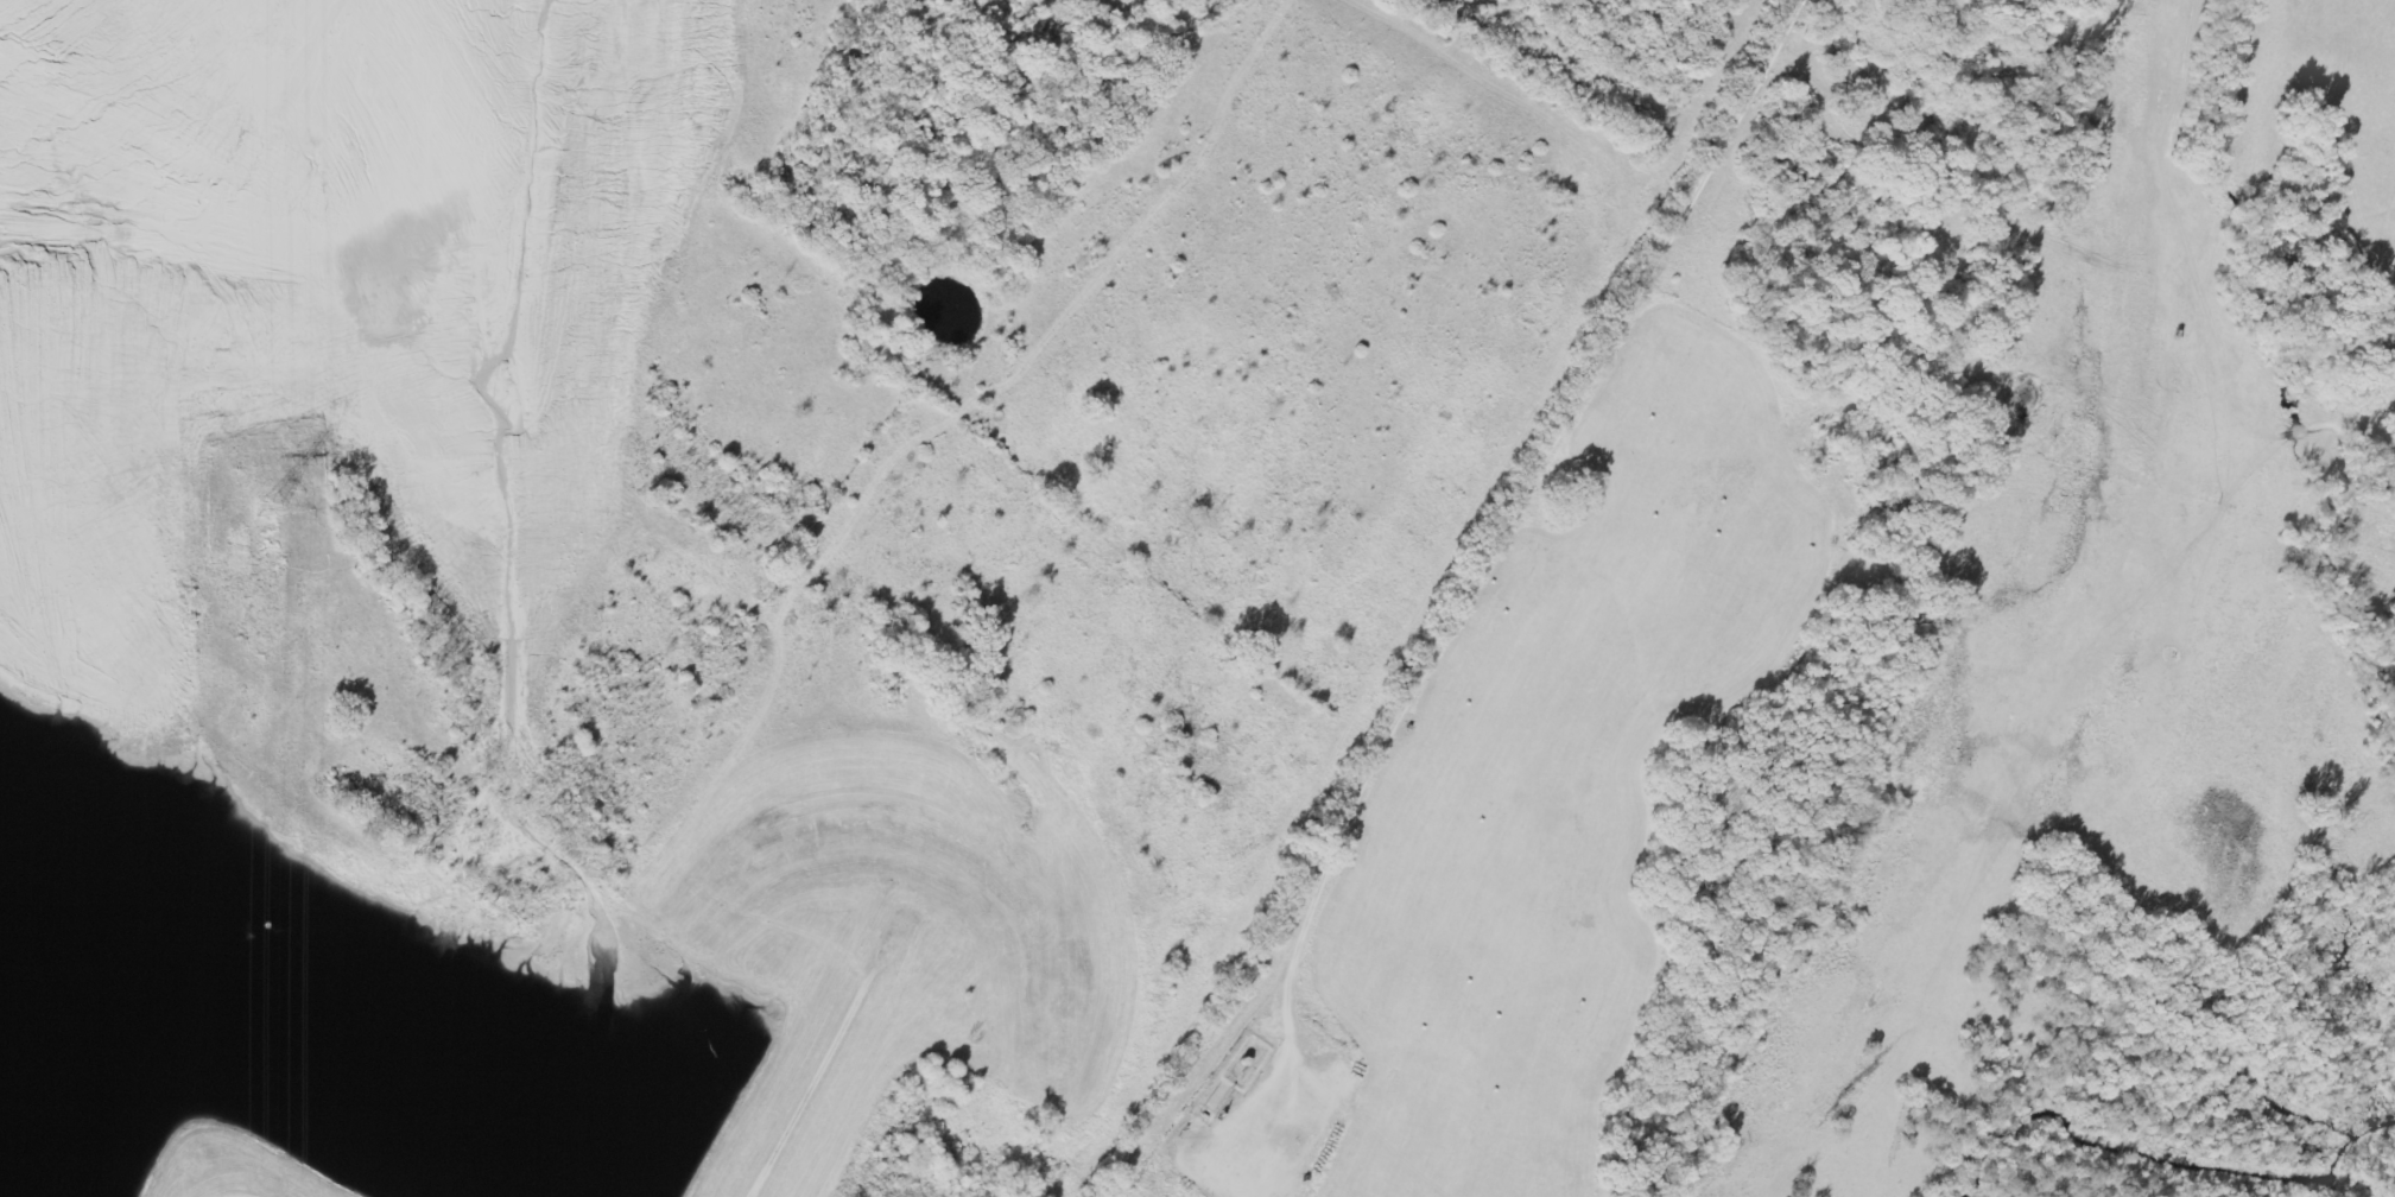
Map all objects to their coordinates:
power tower: (270, 512)
quarry: (99, 565)

